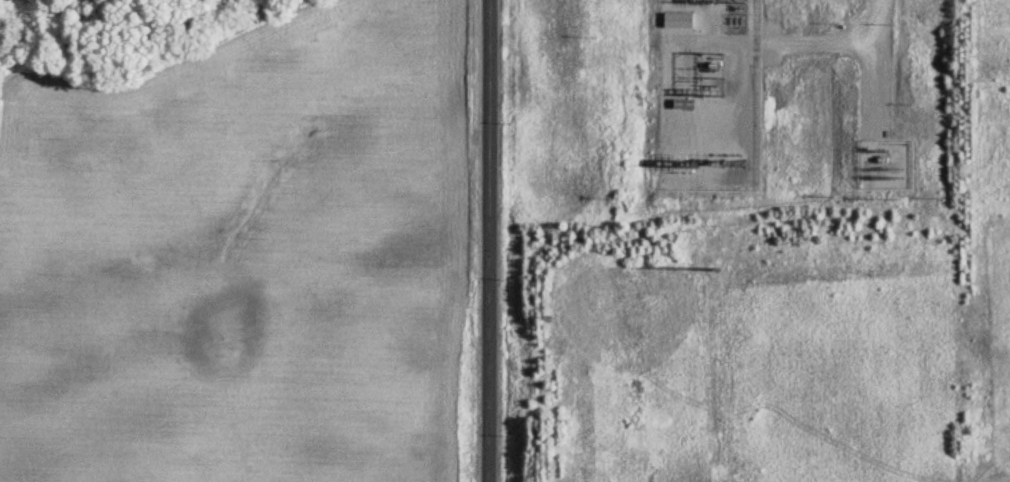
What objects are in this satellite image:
road: (810, 44)
road: (863, 70)
power substation: (709, 94)
power substation: (885, 164)
road: (485, 241)
power tower: (713, 272)

